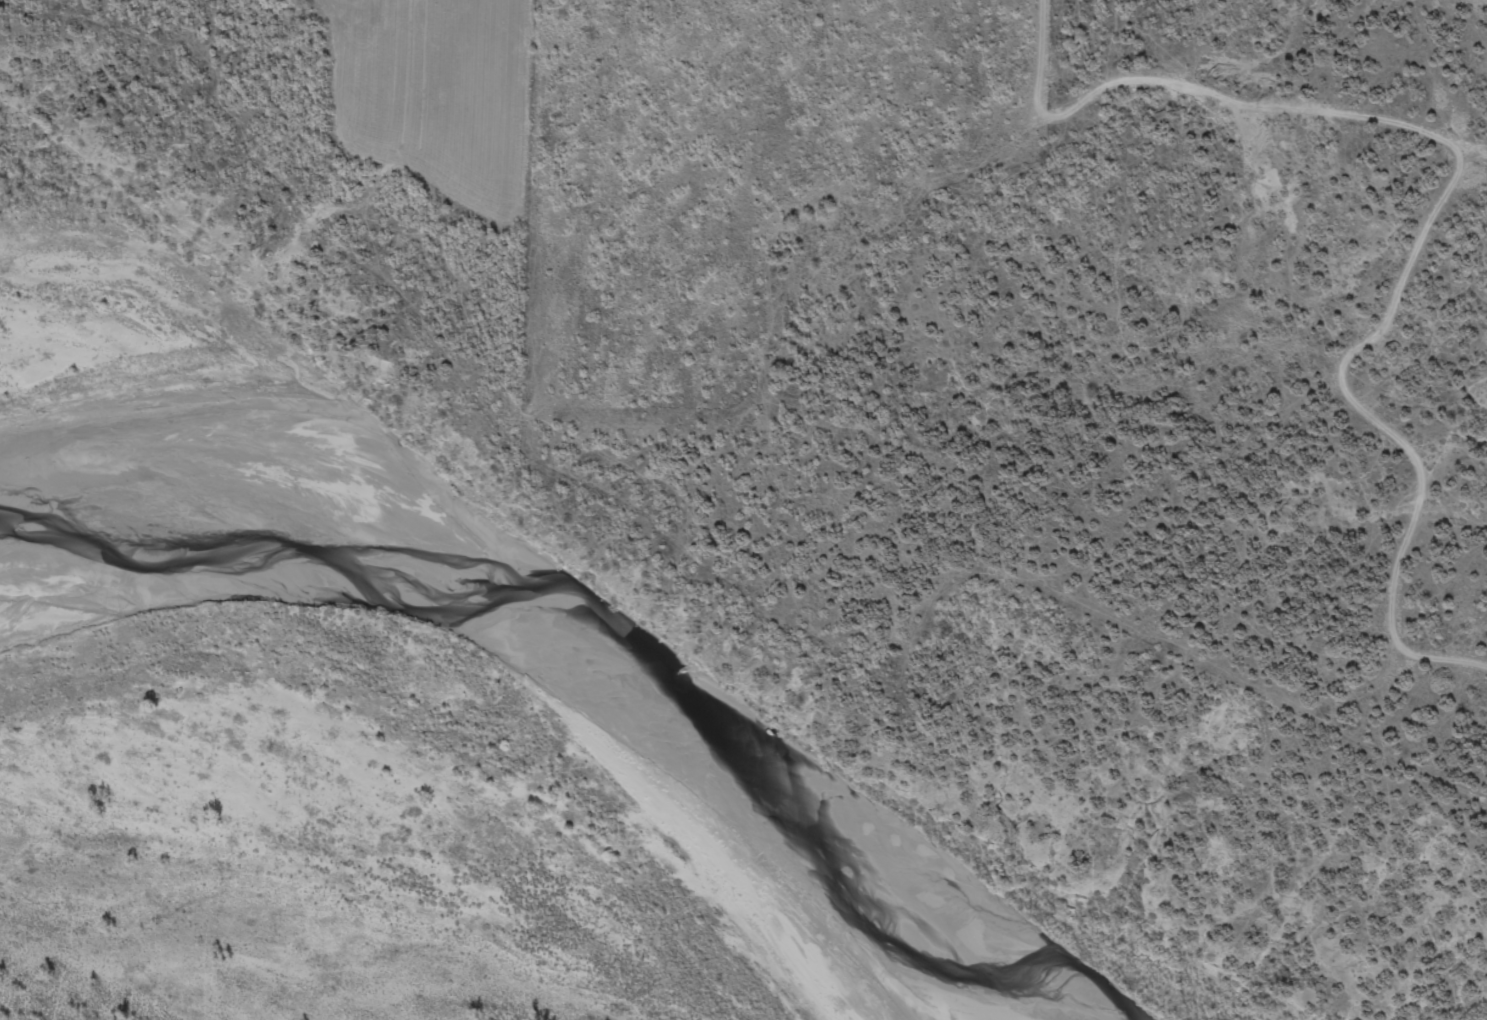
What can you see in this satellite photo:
road: (1275, 105)
river: (530, 567)

